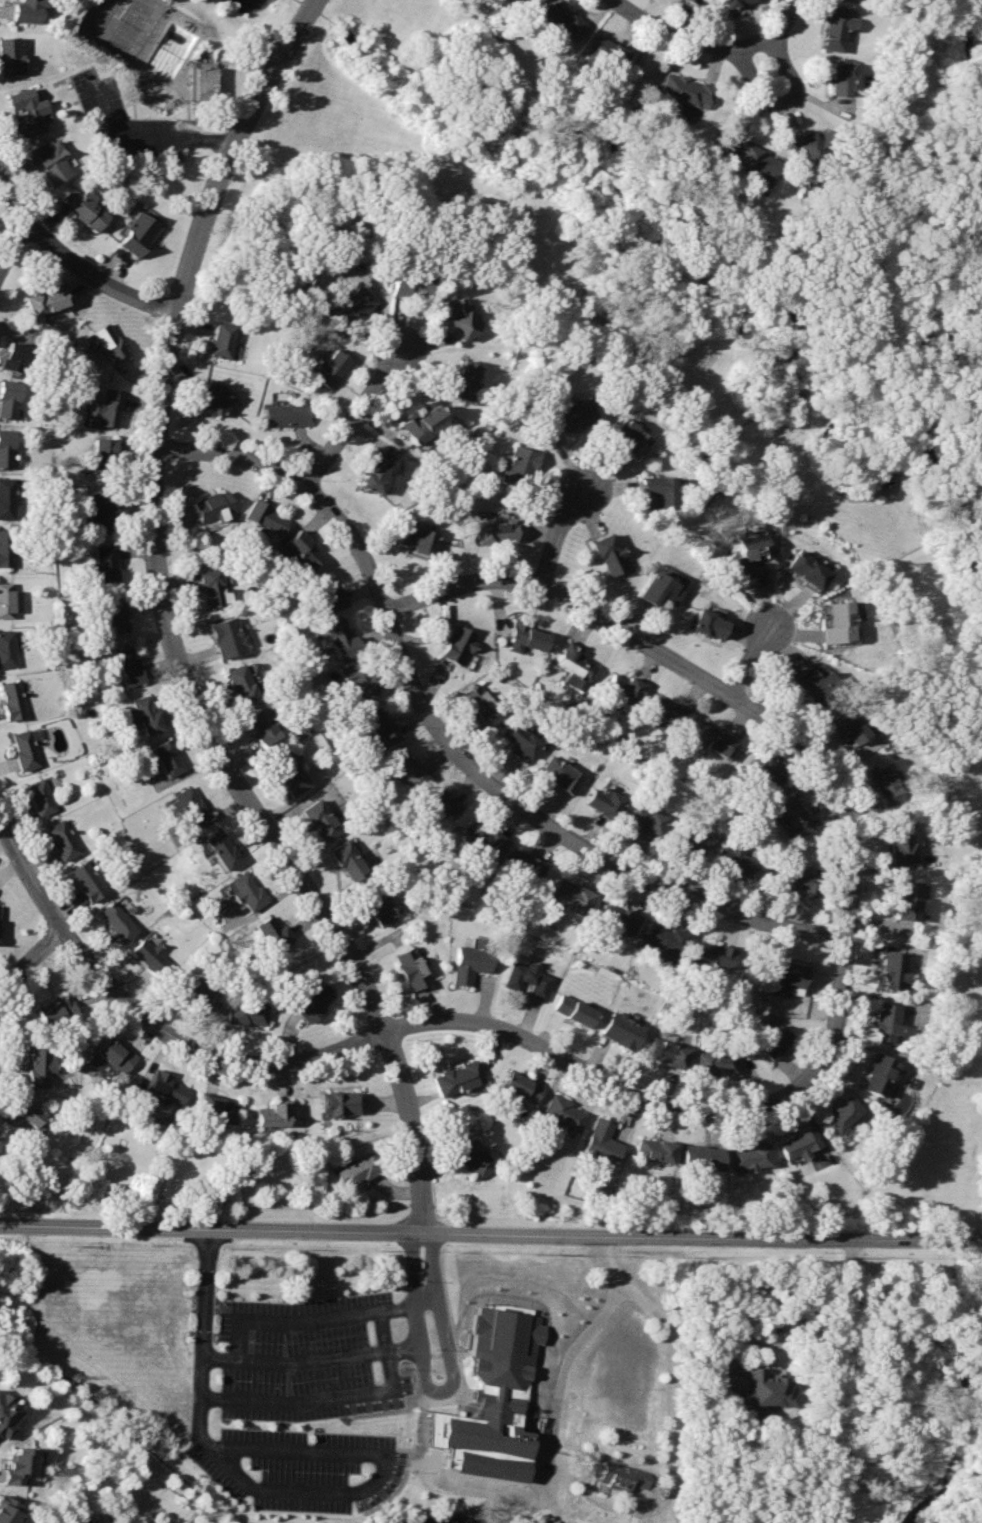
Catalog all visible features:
building: (534, 0)
building: (696, 1)
building: (734, 2)
building: (26, 10)
road: (785, 18)
building: (565, 20)
park: (118, 22)
building: (838, 28)
road: (688, 37)
building: (606, 53)
building: (9, 54)
building: (843, 76)
building: (205, 82)
building: (684, 88)
road: (782, 102)
building: (29, 111)
parking lot: (131, 123)
road: (152, 139)
building: (818, 144)
building: (757, 158)
building: (51, 160)
road: (14, 200)
building: (85, 206)
building: (140, 232)
road: (13, 246)
road: (98, 277)
building: (411, 282)
building: (46, 300)
building: (355, 304)
building: (462, 319)
building: (223, 340)
building: (110, 341)
building: (16, 354)
building: (332, 367)
building: (463, 378)
building: (8, 397)
building: (212, 397)
building: (110, 407)
building: (570, 414)
building: (285, 415)
road: (354, 415)
building: (424, 424)
building: (630, 436)
building: (6, 448)
building: (105, 456)
building: (520, 466)
building: (375, 474)
building: (658, 492)
building: (6, 498)
building: (214, 505)
building: (102, 511)
building: (265, 516)
building: (497, 531)
road: (566, 536)
building: (419, 538)
building: (6, 548)
building: (303, 548)
building: (610, 554)
building: (749, 555)
building: (109, 563)
building: (808, 569)
building: (214, 586)
building: (660, 589)
building: (327, 594)
building: (7, 598)
building: (116, 615)
building: (711, 621)
building: (841, 625)
road: (171, 630)
building: (529, 633)
road: (633, 633)
building: (229, 637)
building: (343, 638)
building: (456, 641)
building: (8, 647)
building: (575, 661)
road: (753, 661)
building: (130, 665)
building: (361, 678)
building: (243, 684)
building: (625, 685)
building: (817, 685)
building: (14, 701)
building: (482, 702)
building: (672, 709)
building: (145, 714)
building: (381, 725)
building: (855, 725)
building: (265, 729)
building: (714, 739)
building: (521, 742)
road: (449, 743)
building: (25, 749)
building: (166, 757)
building: (406, 768)
building: (291, 772)
building: (562, 772)
building: (766, 772)
building: (887, 784)
building: (40, 797)
building: (602, 798)
building: (443, 803)
building: (192, 804)
building: (795, 814)
building: (323, 819)
building: (647, 819)
building: (486, 839)
building: (689, 839)
building: (63, 840)
building: (902, 841)
building: (222, 846)
building: (736, 858)
building: (348, 861)
building: (529, 863)
road: (26, 874)
building: (801, 875)
building: (88, 881)
building: (247, 892)
building: (575, 896)
building: (908, 900)
building: (377, 904)
building: (117, 920)
building: (622, 921)
building: (274, 932)
building: (665, 941)
building: (717, 953)
building: (151, 954)
road: (27, 962)
building: (472, 962)
building: (414, 968)
building: (893, 969)
building: (789, 972)
building: (530, 979)
road: (842, 979)
building: (194, 989)
building: (315, 1002)
building: (576, 1010)
building: (56, 1011)
building: (247, 1012)
building: (886, 1021)
building: (624, 1031)
road: (379, 1037)
building: (776, 1042)
building: (670, 1052)
building: (111, 1055)
building: (720, 1063)
building: (40, 1065)
building: (879, 1072)
building: (459, 1076)
building: (522, 1085)
building: (167, 1087)
building: (341, 1101)
building: (218, 1106)
building: (564, 1112)
building: (843, 1113)
building: (273, 1115)
building: (24, 1118)
building: (604, 1140)
building: (799, 1143)
building: (656, 1148)
building: (704, 1154)
building: (752, 1155)
building: (476, 1156)
building: (361, 1168)
road: (211, 1228)
road: (702, 1238)
road: (414, 1239)
road: (204, 1292)
road: (412, 1303)
road: (788, 1314)
road: (294, 1320)
road: (594, 1321)
parking lot: (307, 1357)
road: (309, 1358)
road: (446, 1384)
building: (767, 1389)
road: (670, 1390)
road: (334, 1395)
road: (198, 1397)
building: (489, 1404)
building: (8, 1416)
park: (935, 1421)
road: (297, 1448)
building: (17, 1465)
parking lot: (298, 1466)
building: (622, 1476)
road: (292, 1490)
building: (8, 1511)

